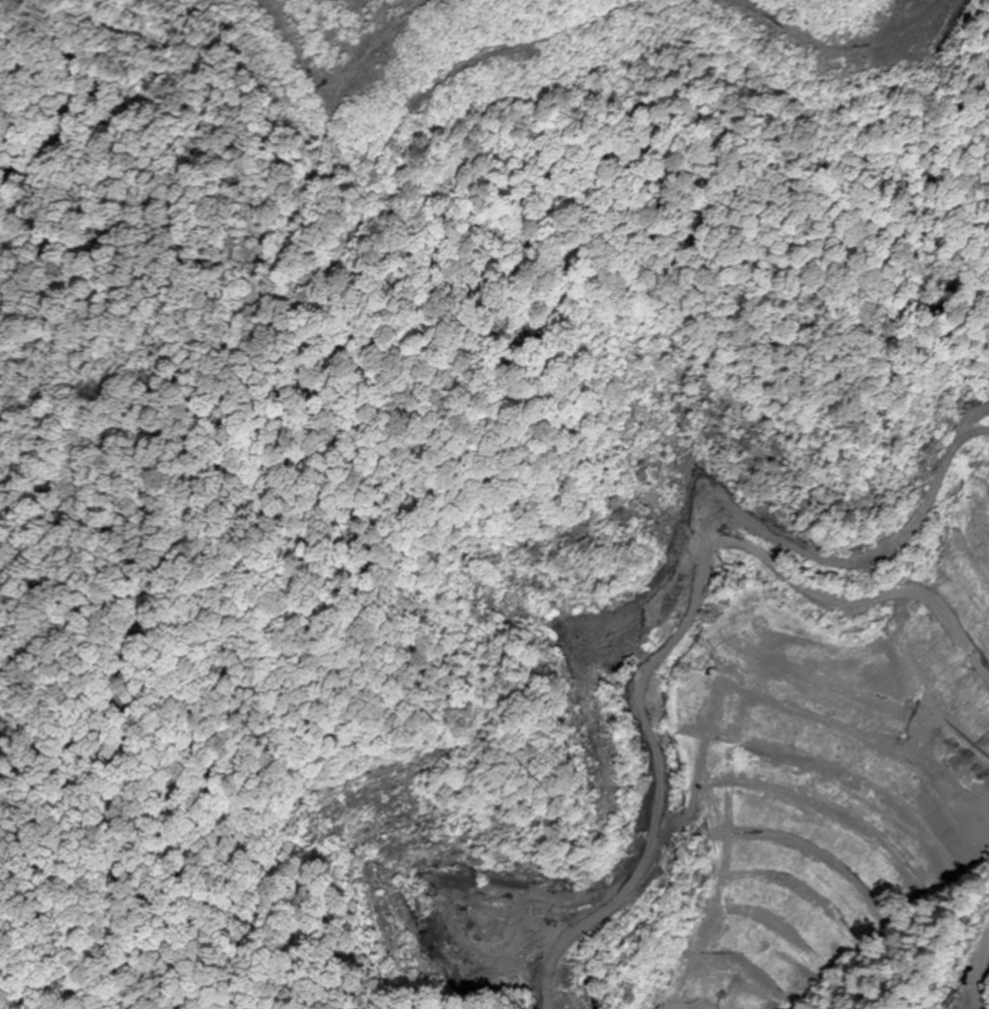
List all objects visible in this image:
building: (250, 253)

